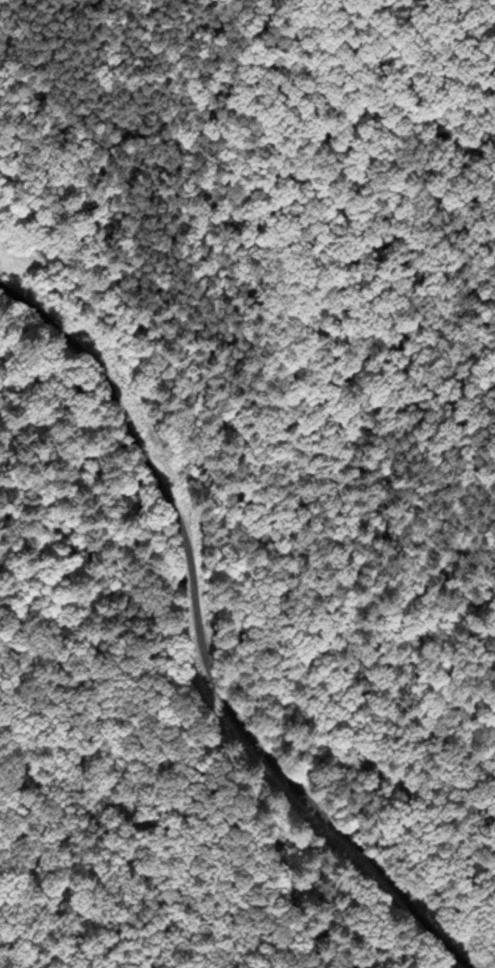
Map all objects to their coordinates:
road: (198, 645)

